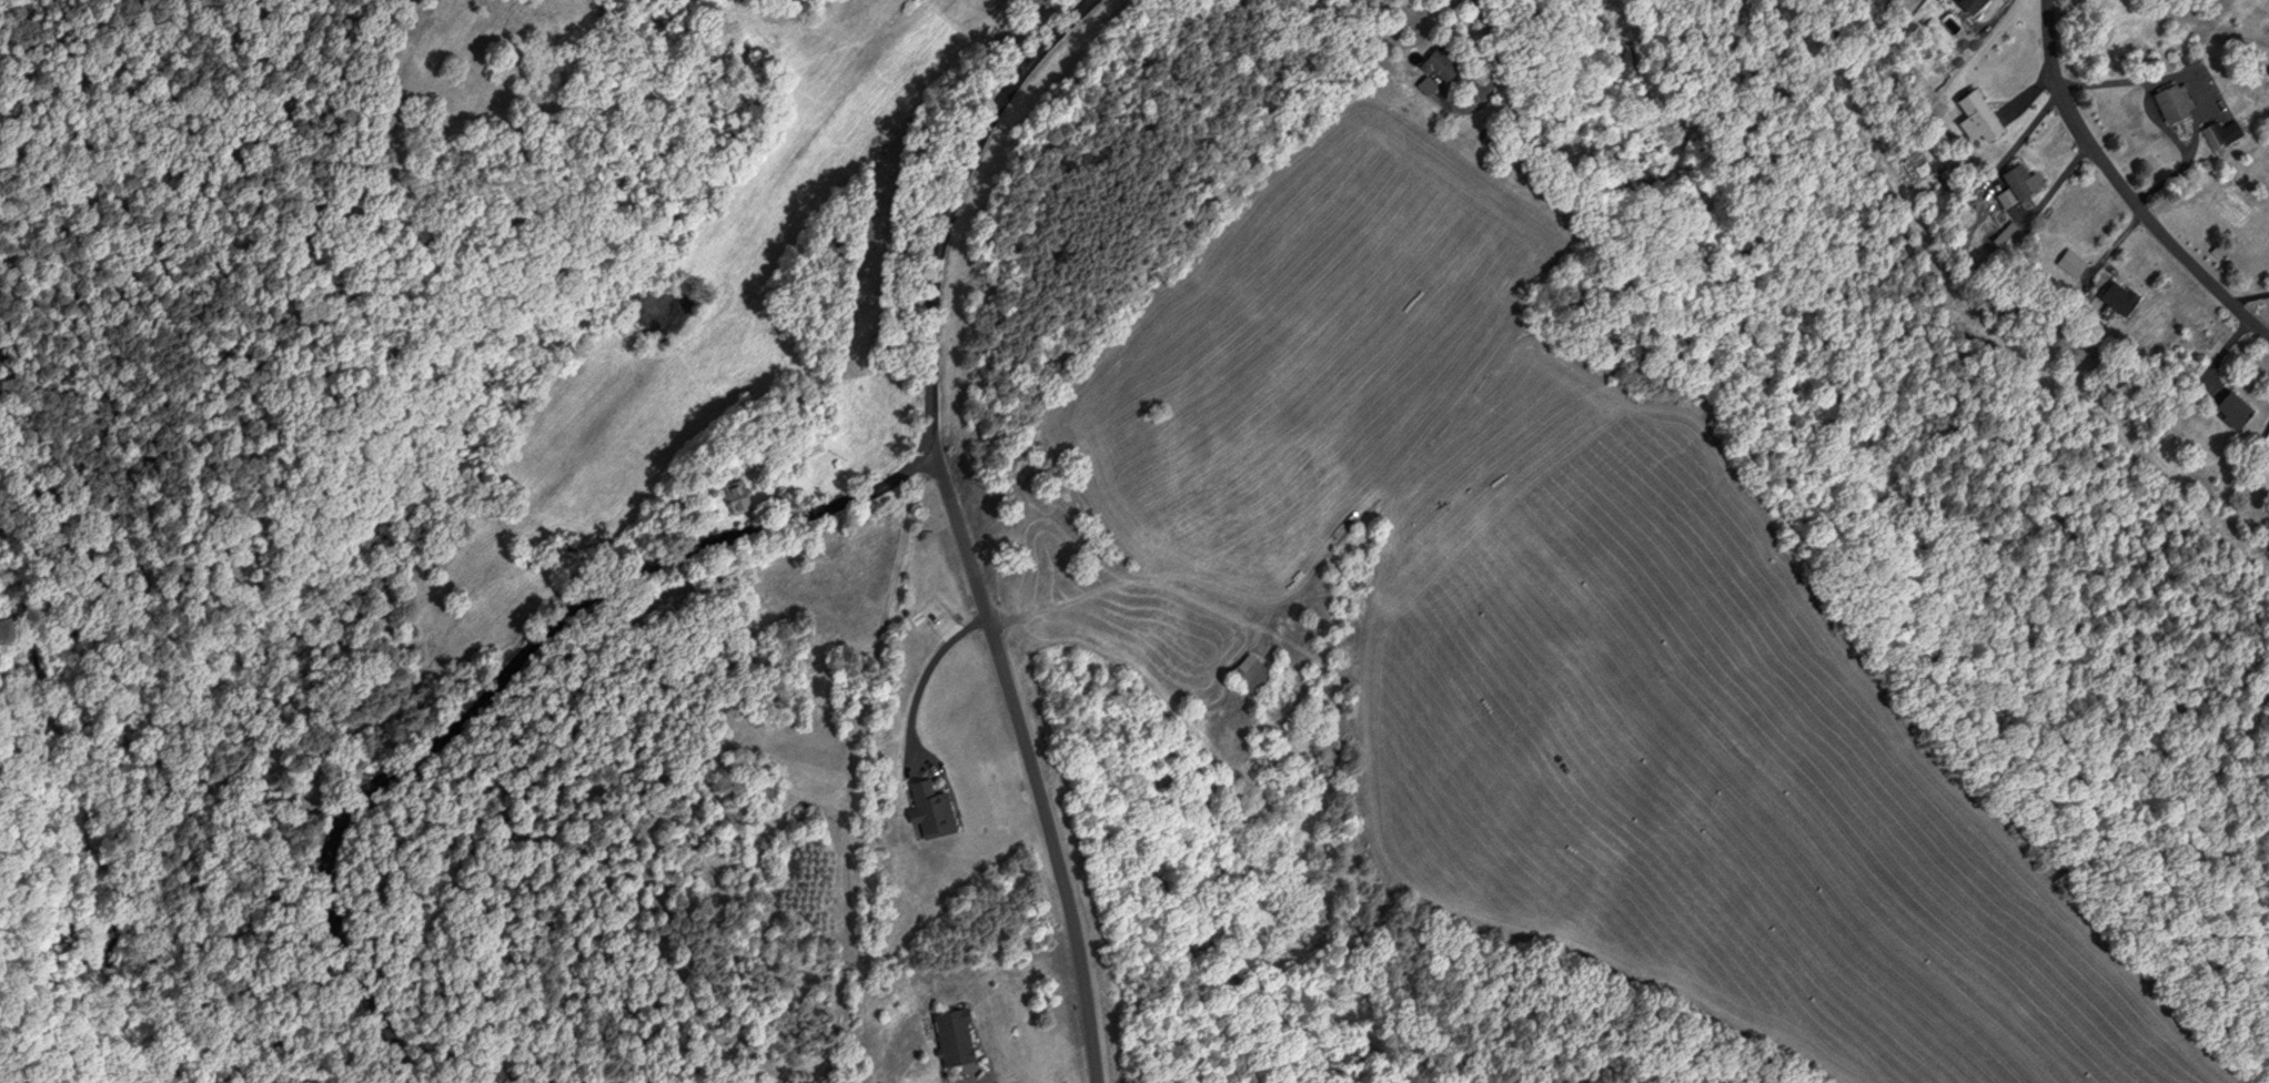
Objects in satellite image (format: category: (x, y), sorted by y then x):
building: (1965, 4)
building: (1434, 64)
road: (1491, 72)
building: (1421, 84)
building: (2168, 102)
building: (1973, 114)
building: (2219, 132)
building: (2011, 184)
road: (2122, 186)
building: (2115, 296)
building: (2228, 407)
building: (734, 496)
road: (733, 587)
building: (1246, 676)
road: (1031, 767)
building: (928, 809)
building: (948, 1034)

